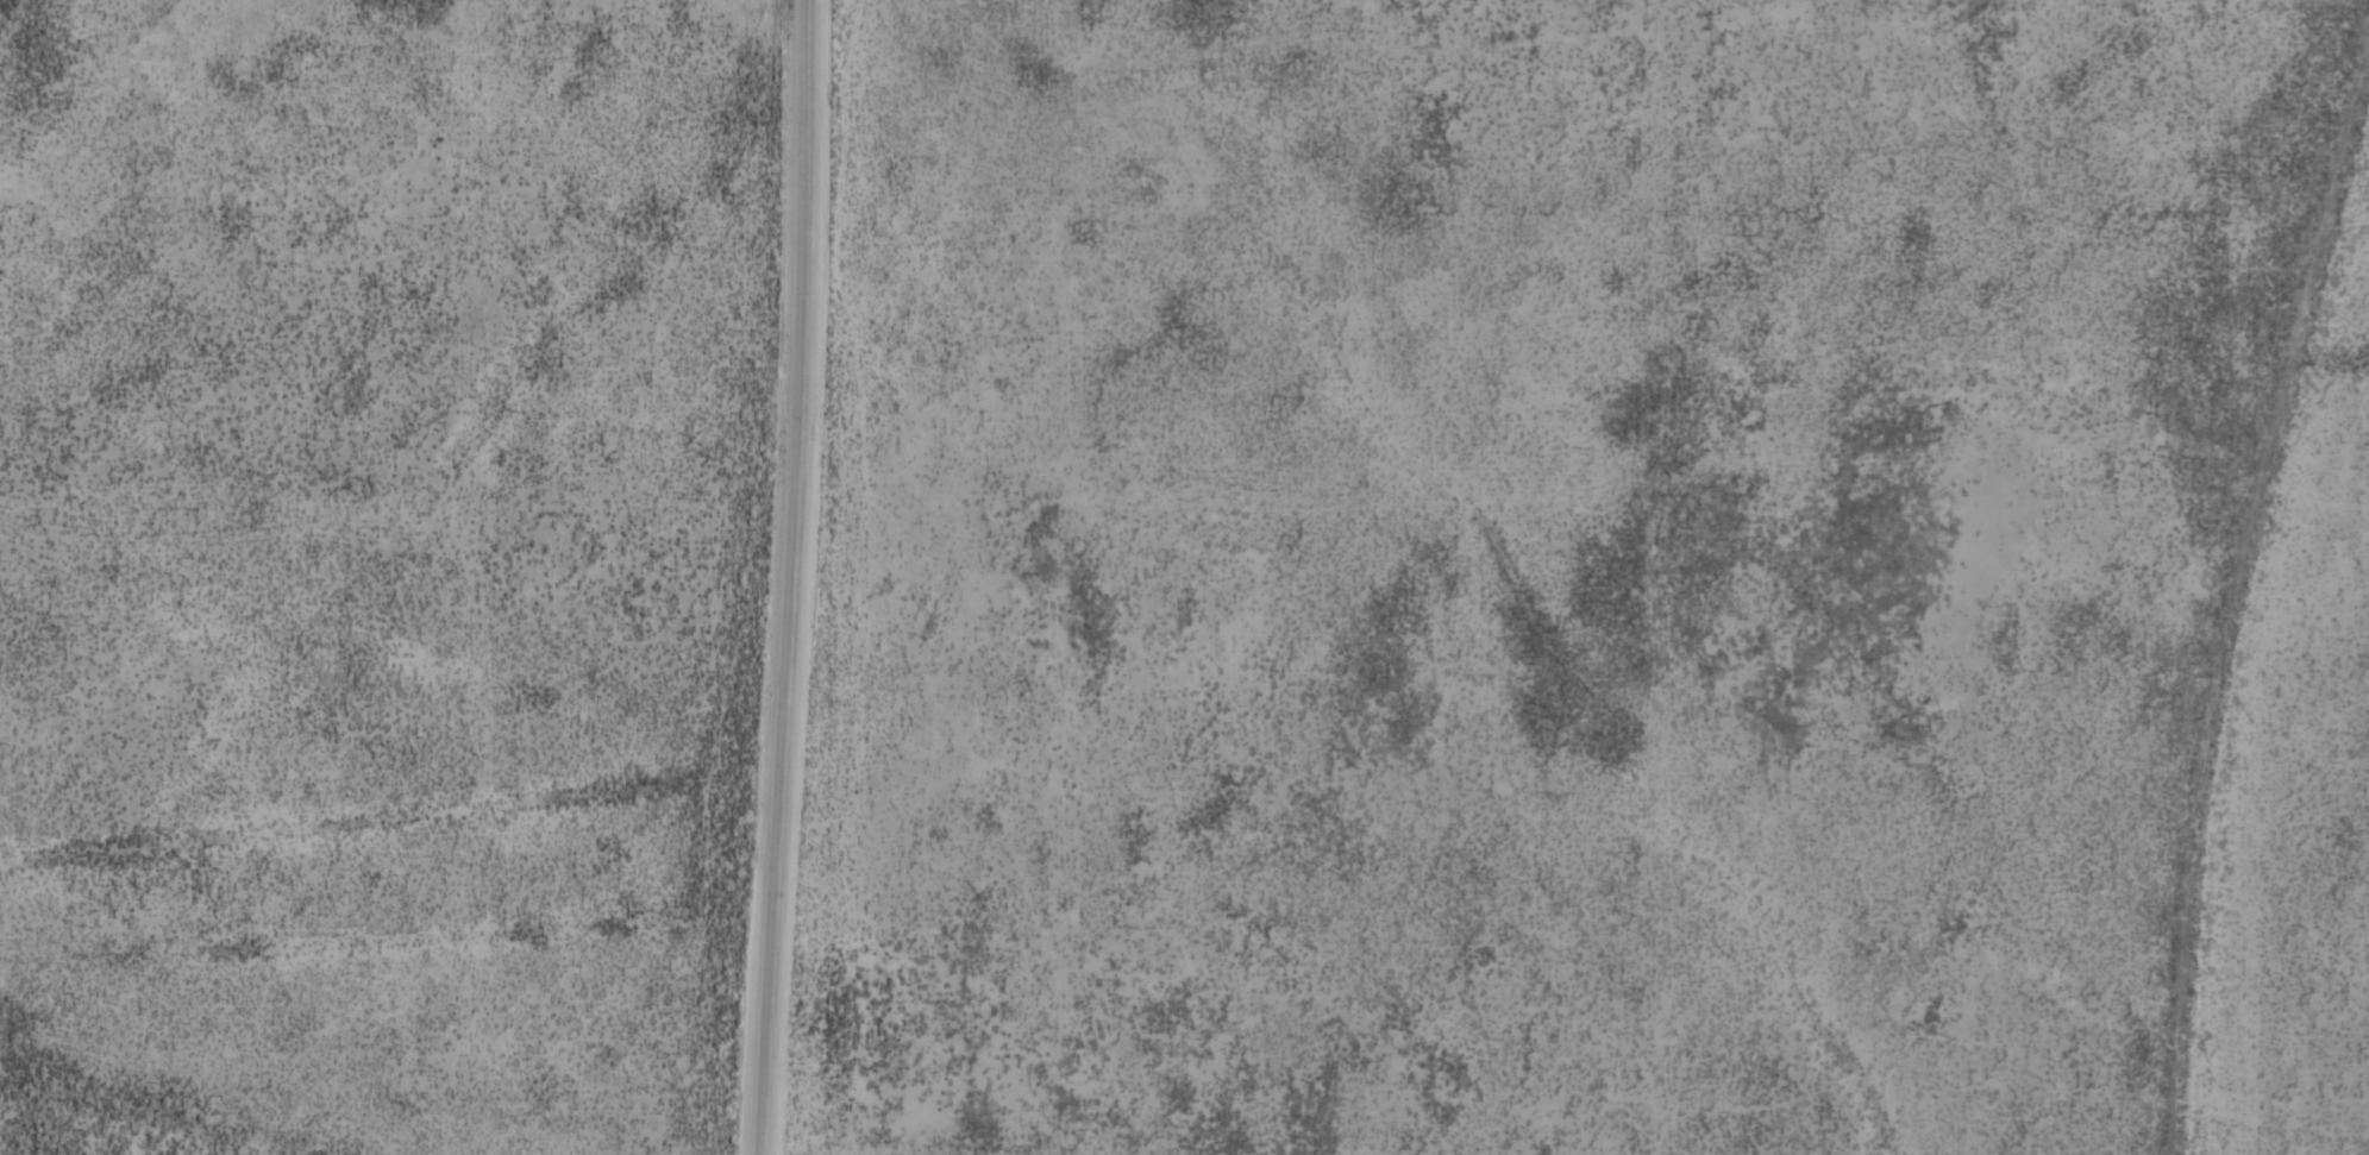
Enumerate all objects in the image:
road: (802, 578)

